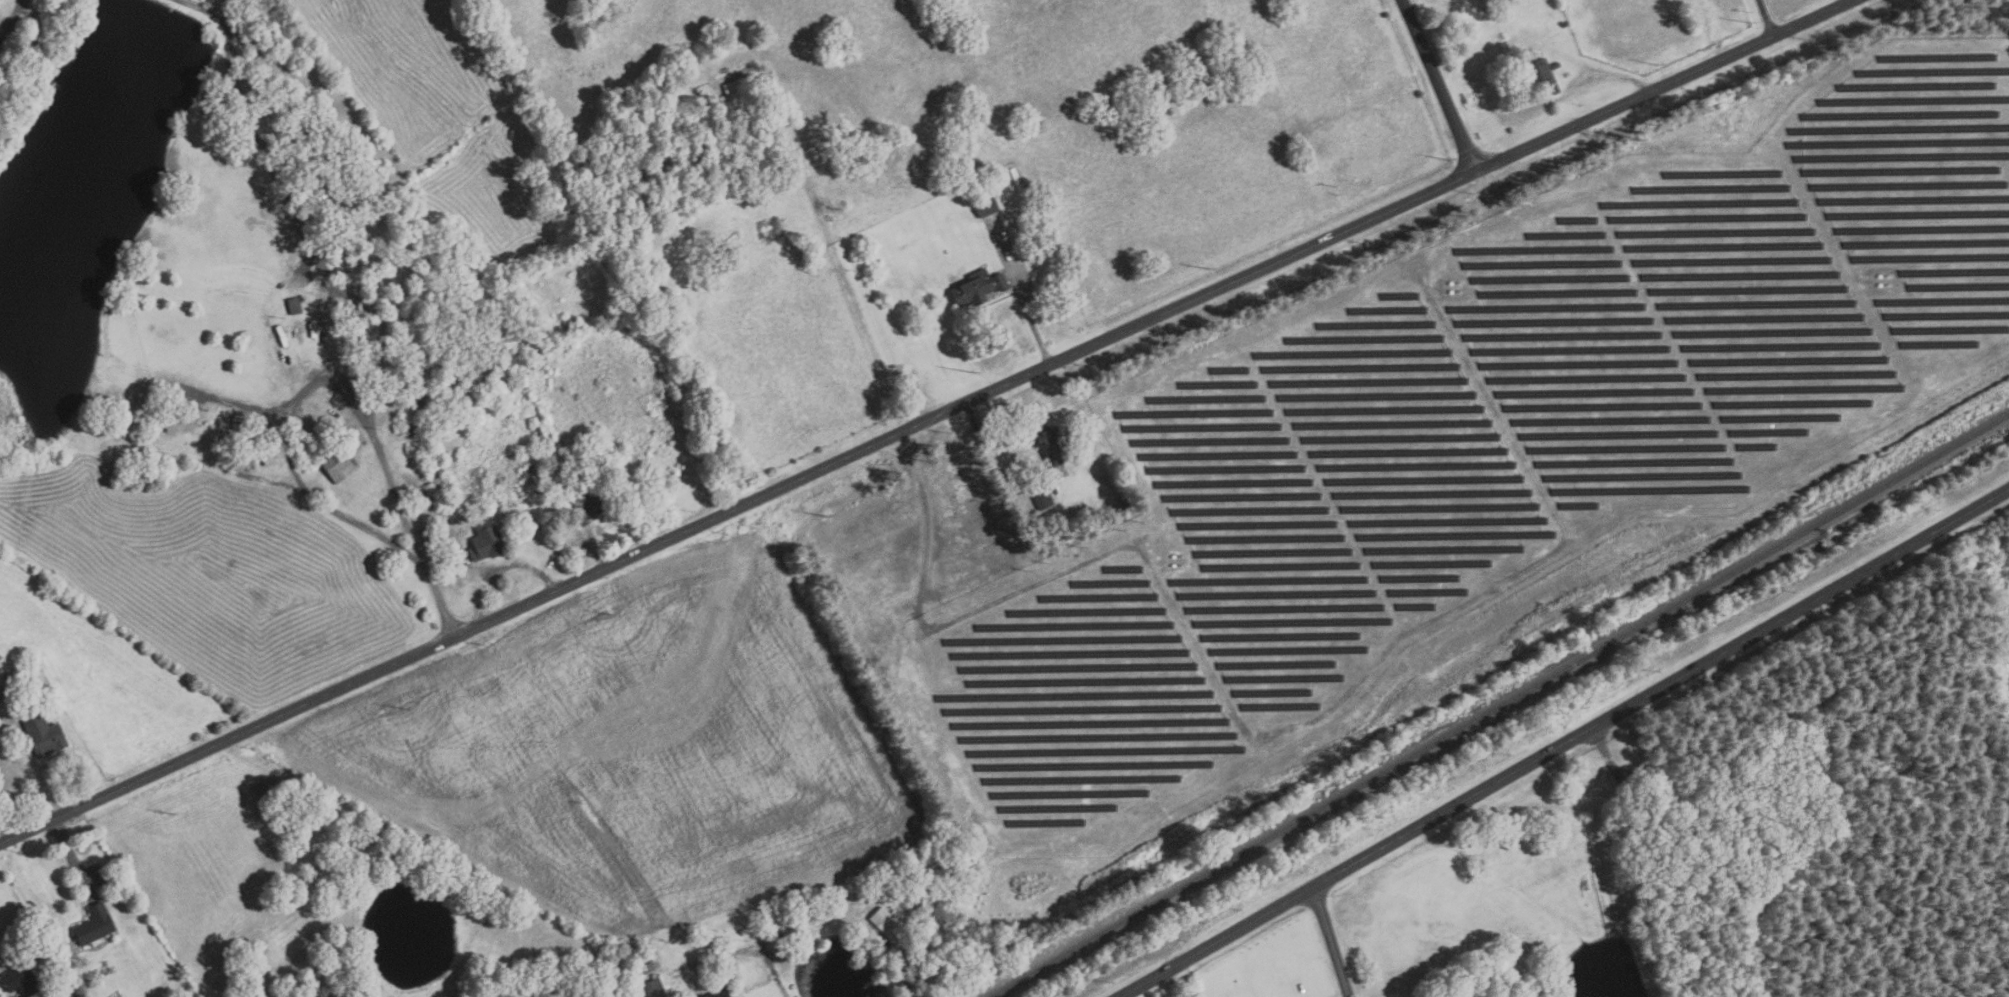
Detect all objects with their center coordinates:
road: (198, 9)
road: (1765, 16)
road: (10, 18)
power tower: (1750, 24)
building: (1557, 65)
power tower: (1657, 65)
building: (1543, 78)
building: (740, 85)
road: (1439, 85)
power tower: (1449, 160)
building: (987, 204)
road: (302, 232)
power tower: (1208, 270)
building: (980, 288)
building: (421, 295)
road: (1025, 304)
building: (295, 306)
building: (573, 325)
building: (567, 345)
power tower: (972, 370)
building: (503, 375)
road: (334, 378)
building: (457, 386)
building: (479, 389)
road: (215, 395)
building: (429, 404)
road: (924, 421)
building: (410, 430)
solar farm: (1476, 441)
building: (1051, 446)
road: (208, 460)
building: (339, 462)
power tower: (898, 471)
building: (584, 478)
building: (541, 480)
building: (437, 487)
building: (1055, 491)
building: (1045, 500)
building: (1129, 502)
building: (589, 504)
building: (466, 512)
power tower: (826, 515)
building: (454, 522)
building: (429, 535)
road: (571, 538)
building: (486, 542)
road: (496, 565)
power tower: (613, 615)
building: (2, 690)
railway: (1500, 701)
power tower: (405, 708)
building: (45, 733)
road: (1268, 734)
road: (1564, 742)
road: (37, 770)
building: (1627, 780)
power tower: (175, 815)
road: (72, 854)
building: (885, 878)
building: (886, 920)
building: (96, 923)
road: (1333, 941)
building: (788, 949)
road: (901, 967)
building: (646, 968)
building: (22, 979)
road: (1185, 979)
building: (655, 989)
building: (718, 991)
building: (453, 996)
road: (1349, 996)

